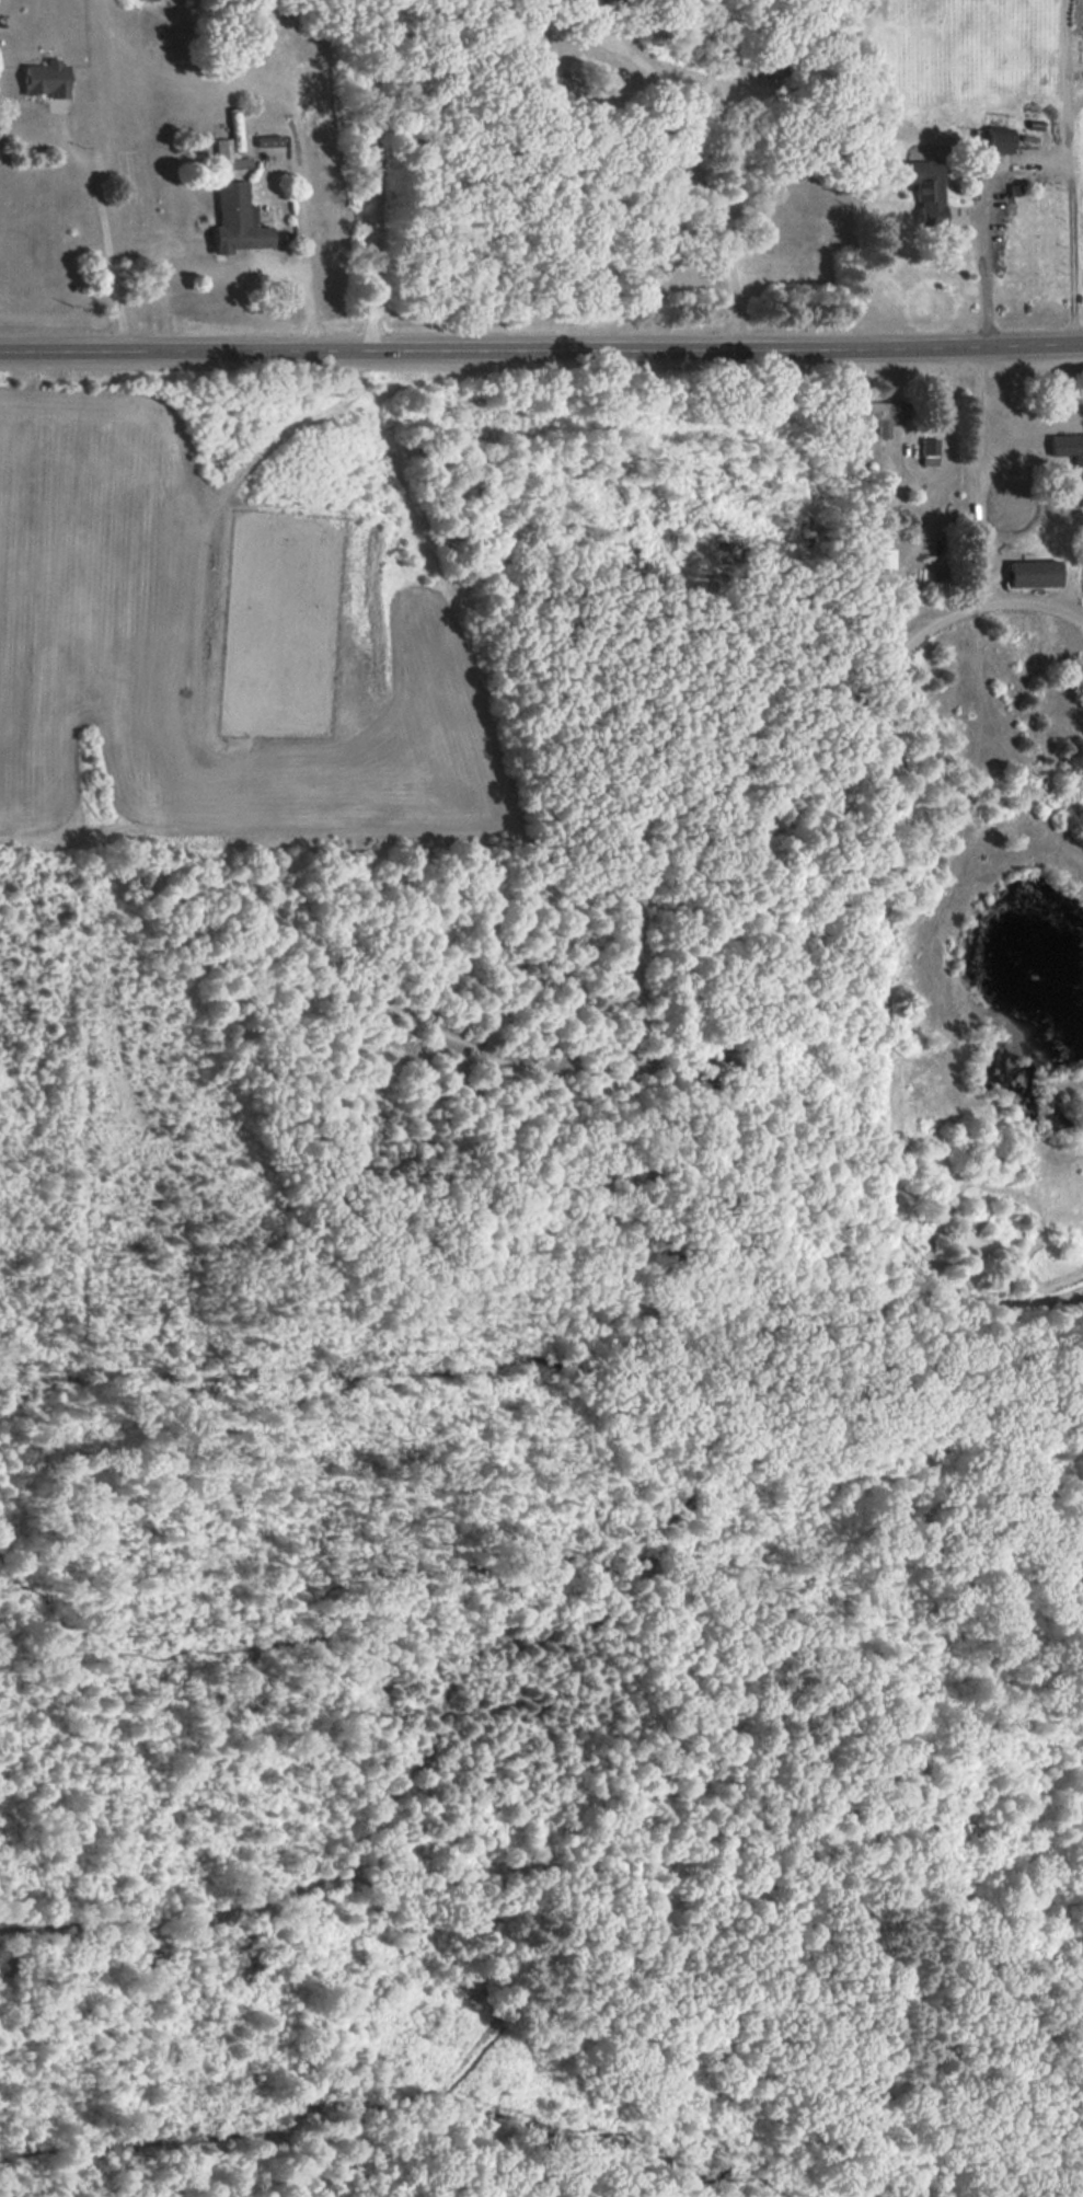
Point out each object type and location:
building: (46, 79)
building: (879, 134)
building: (267, 140)
building: (996, 140)
building: (228, 156)
road: (700, 165)
road: (1070, 171)
road: (368, 172)
building: (925, 189)
building: (235, 220)
road: (102, 225)
road: (984, 263)
road: (306, 291)
road: (541, 348)
building: (887, 415)
building: (1068, 447)
building: (929, 451)
road: (942, 467)
building: (1033, 573)

